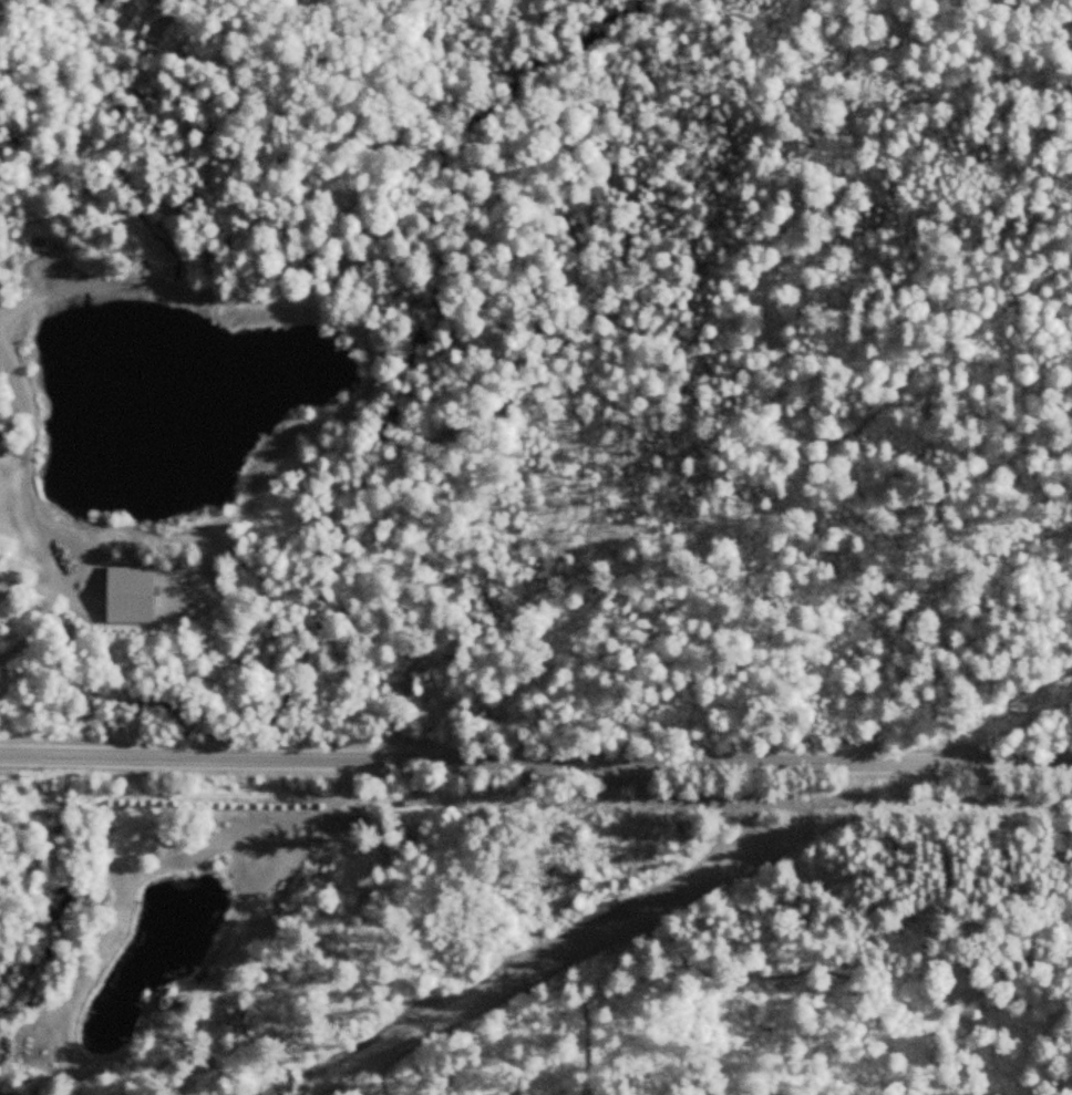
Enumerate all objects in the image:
road: (535, 760)

